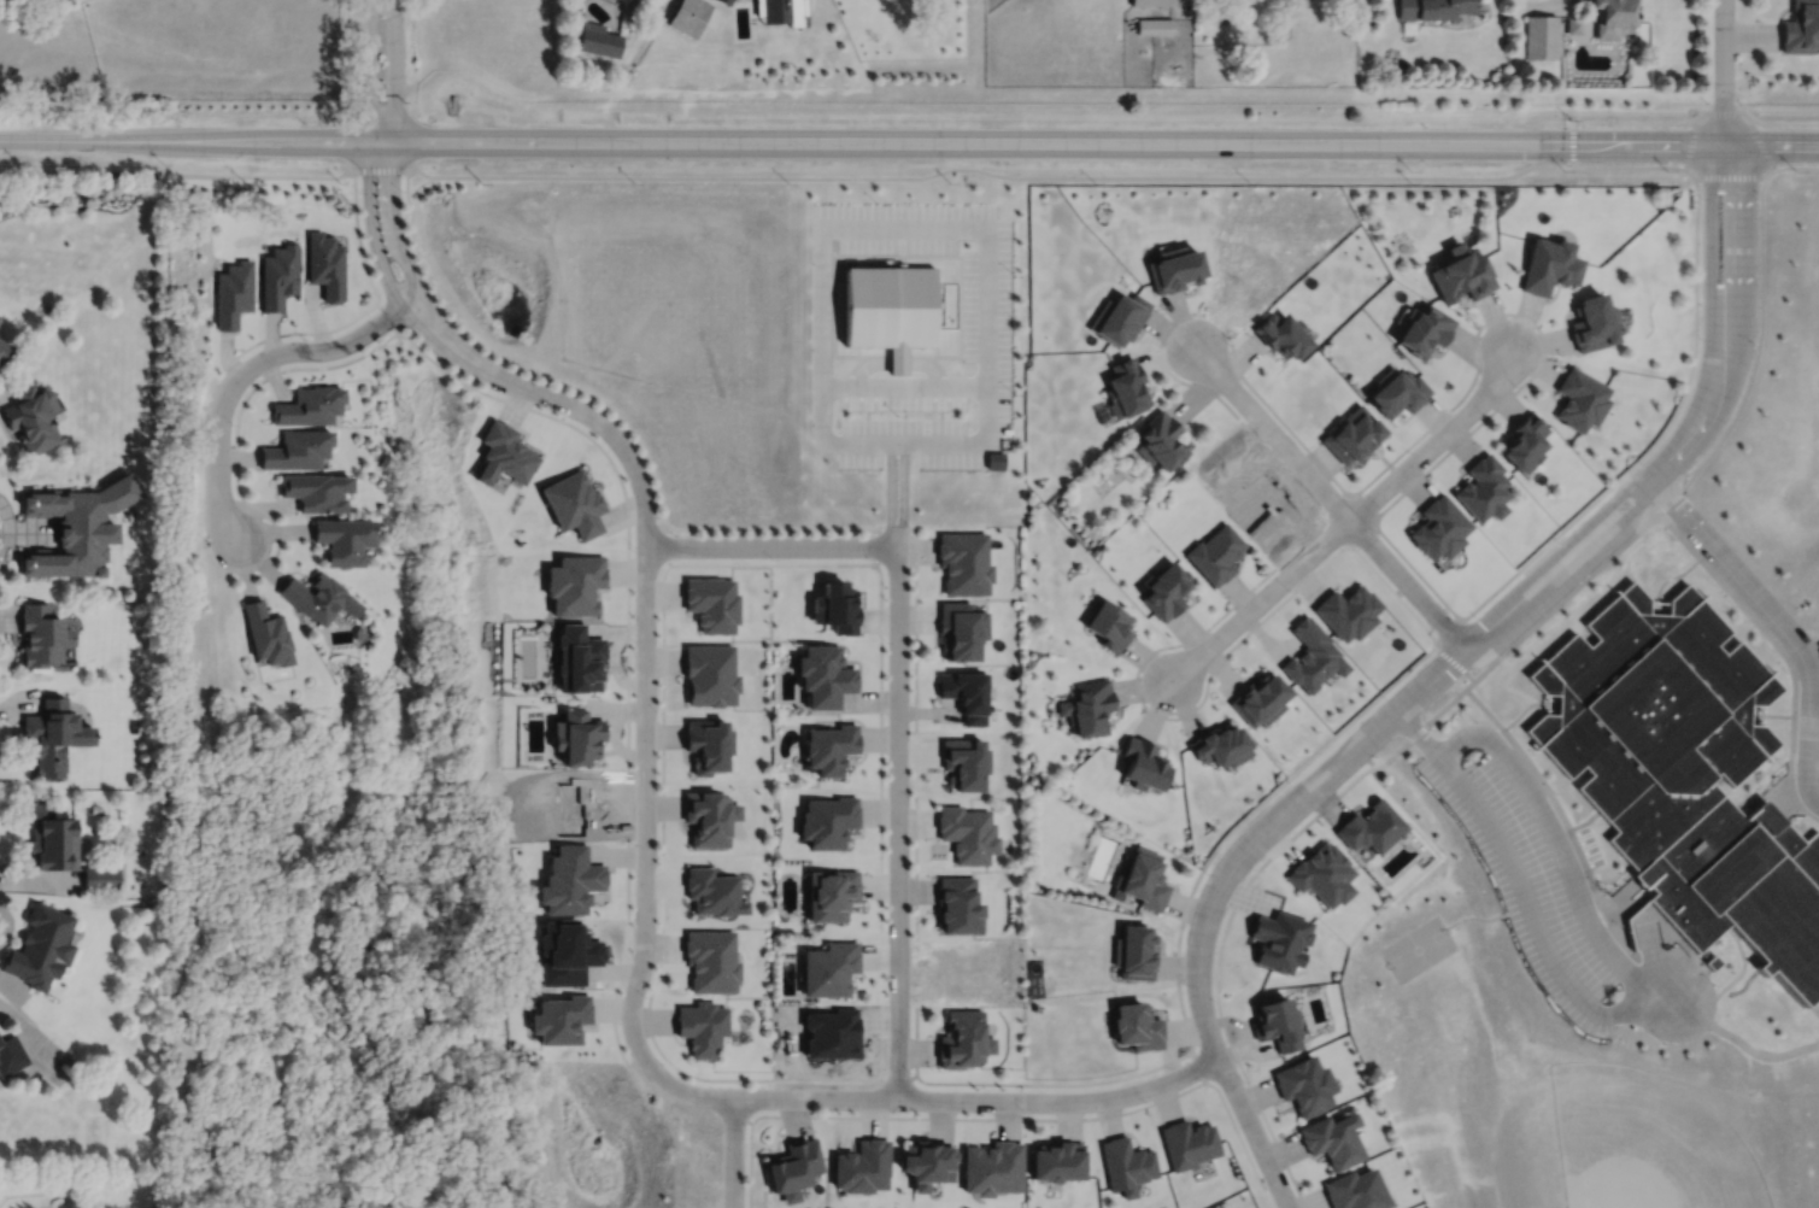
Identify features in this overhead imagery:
building: (727, 0)
building: (1150, 1)
building: (1432, 7)
building: (784, 8)
building: (1221, 8)
building: (690, 14)
building: (1612, 16)
street lamp: (381, 17)
building: (1154, 24)
building: (1574, 24)
building: (1801, 27)
building: (1542, 36)
building: (598, 37)
road: (369, 69)
road: (394, 69)
road: (1723, 72)
street lamp: (1704, 100)
street lamp: (1739, 101)
street lamp: (381, 102)
road: (1727, 111)
road: (1701, 112)
road: (1616, 122)
road: (1780, 122)
road: (909, 141)
road: (1572, 143)
road: (1690, 146)
road: (1755, 172)
road: (846, 176)
street lamp: (400, 189)
street lamp: (360, 192)
street lamp: (1702, 198)
street lamp: (1756, 199)
street lamp: (874, 201)
road: (966, 225)
park: (1401, 242)
road: (400, 246)
road: (379, 254)
road: (949, 256)
building: (1549, 265)
building: (327, 266)
building: (1175, 269)
building: (1461, 274)
road: (1711, 274)
street lamp: (1014, 275)
road: (1742, 275)
building: (280, 276)
building: (235, 293)
building: (890, 310)
road: (1498, 313)
building: (1120, 318)
building: (1592, 323)
parking lot: (986, 328)
building: (1425, 329)
building: (1284, 335)
street lamp: (303, 338)
street lamp: (1701, 339)
road: (937, 341)
street lamp: (1227, 341)
street lamp: (1754, 344)
road: (858, 350)
building: (4, 351)
road: (846, 354)
street lamp: (442, 362)
road: (935, 362)
road: (897, 364)
road: (252, 365)
road: (1167, 369)
road: (904, 385)
street lamp: (1516, 385)
building: (1126, 389)
building: (1400, 392)
street lamp: (1014, 393)
building: (1580, 400)
building: (310, 406)
road: (586, 410)
street lamp: (897, 415)
street lamp: (571, 417)
building: (33, 418)
building: (1354, 435)
street lamp: (1262, 440)
building: (1161, 441)
building: (1525, 441)
building: (298, 451)
street lamp: (1408, 451)
building: (503, 453)
street lamp: (1643, 464)
road: (1696, 470)
building: (1483, 486)
building: (317, 489)
road: (1331, 497)
building: (1255, 499)
building: (575, 504)
road: (1350, 518)
building: (76, 524)
street lamp: (910, 526)
building: (1439, 526)
street lamp: (1380, 534)
building: (346, 536)
street lamp: (1674, 539)
street lamp: (207, 540)
street lamp: (1559, 543)
street lamp: (634, 545)
road: (771, 545)
building: (1217, 552)
street lamp: (773, 558)
building: (964, 561)
building: (576, 585)
building: (1166, 587)
street lamp: (1290, 590)
building: (321, 594)
road: (1756, 594)
building: (711, 603)
road: (916, 605)
building: (1350, 609)
building: (839, 610)
street lamp: (1477, 615)
building: (1109, 623)
building: (961, 628)
road: (1765, 629)
building: (268, 632)
building: (43, 633)
street lamp: (887, 641)
street lamp: (1175, 647)
road: (1230, 647)
building: (1314, 655)
building: (579, 657)
building: (711, 673)
building: (826, 673)
building: (966, 692)
building: (1262, 698)
street lamp: (1386, 698)
street lamp: (1462, 698)
building: (1090, 705)
street lamp: (657, 710)
street lamp: (1475, 721)
road: (1806, 726)
building: (53, 733)
road: (1812, 733)
building: (577, 734)
road: (1330, 740)
building: (1222, 744)
building: (832, 746)
building: (709, 750)
road: (1522, 755)
building: (966, 761)
building: (1144, 762)
road: (1340, 762)
road: (1807, 768)
road: (1362, 773)
building: (1685, 774)
street lamp: (1421, 775)
street lamp: (1291, 784)
street lamp: (1555, 792)
street lamp: (910, 798)
building: (94, 808)
building: (581, 808)
building: (710, 816)
building: (829, 820)
road: (899, 821)
road: (1585, 821)
building: (1373, 826)
building: (968, 832)
building: (52, 838)
street lamp: (632, 843)
street lamp: (1475, 848)
road: (645, 855)
parking lot: (1533, 868)
road: (1586, 870)
street lamp: (1207, 873)
building: (1325, 874)
building: (101, 876)
building: (1144, 878)
building: (570, 880)
street lamp: (1600, 886)
building: (712, 891)
building: (833, 893)
road: (1620, 896)
building: (958, 904)
street lamp: (1624, 930)
street lamp: (1512, 931)
street lamp: (888, 933)
building: (1277, 938)
road: (1618, 939)
building: (41, 946)
park: (1418, 948)
building: (1136, 952)
building: (569, 957)
building: (712, 960)
building: (831, 968)
street lamp: (1184, 983)
street lamp: (1714, 984)
street lamp: (645, 996)
street lamp: (1559, 1008)
road: (1618, 1011)
building: (559, 1019)
building: (1278, 1024)
building: (703, 1026)
building: (1137, 1026)
road: (647, 1027)
building: (832, 1036)
road: (1227, 1037)
building: (964, 1039)
street lamp: (1662, 1042)
building: (11, 1055)
road: (1198, 1065)
street lamp: (910, 1072)
road: (897, 1078)
street lamp: (1243, 1080)
street lamp: (774, 1085)
building: (1307, 1085)
road: (980, 1098)
street lamp: (1145, 1102)
street lamp: (1026, 1113)
road: (1009, 1116)
building: (1334, 1140)
building: (1189, 1144)
park: (1638, 1145)
park: (1808, 1148)
road: (732, 1151)
building: (1058, 1162)
building: (928, 1163)
building: (1127, 1165)
building: (864, 1167)
building: (993, 1167)
building: (796, 1168)
building: (1356, 1190)
building: (69, 1202)

